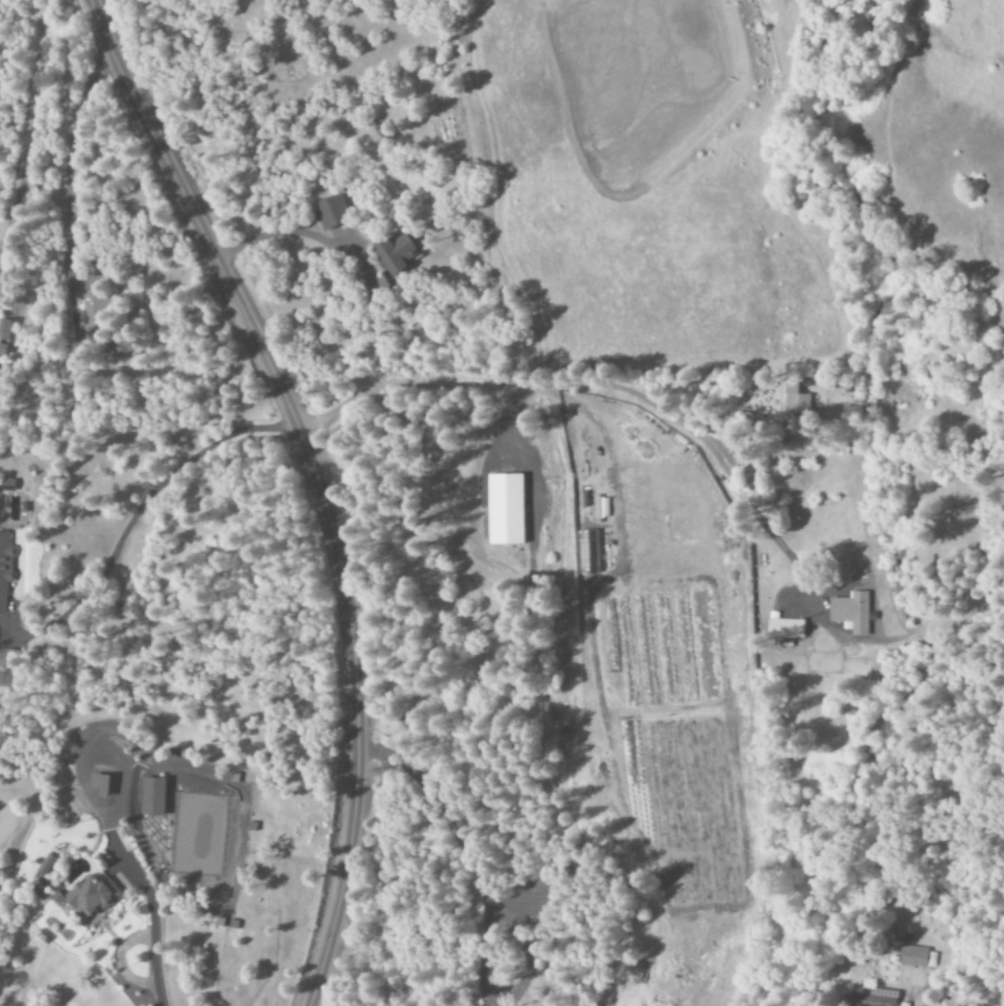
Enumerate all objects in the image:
building: (330, 212)
building: (393, 254)
building: (4, 331)
road: (527, 392)
building: (795, 401)
building: (8, 484)
road: (305, 485)
building: (601, 509)
building: (503, 510)
building: (587, 553)
building: (5, 569)
building: (850, 612)
building: (783, 628)
building: (98, 785)
building: (151, 798)
building: (89, 897)
building: (918, 957)
building: (871, 998)

